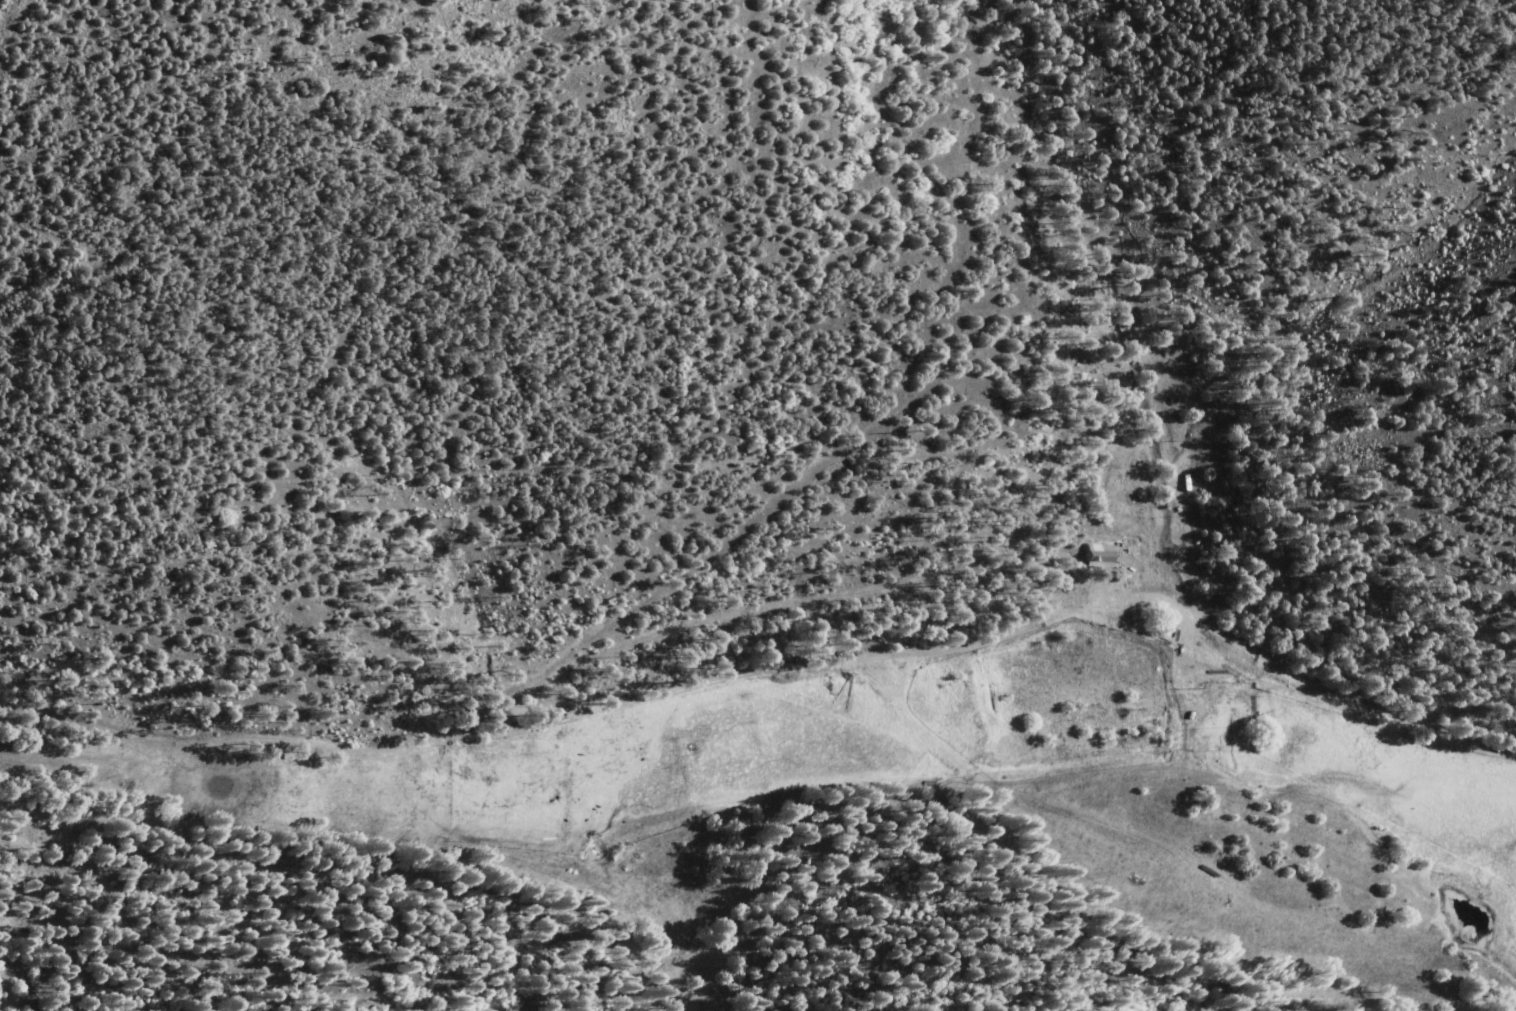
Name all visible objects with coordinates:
building: (1102, 556)
road: (1335, 672)

